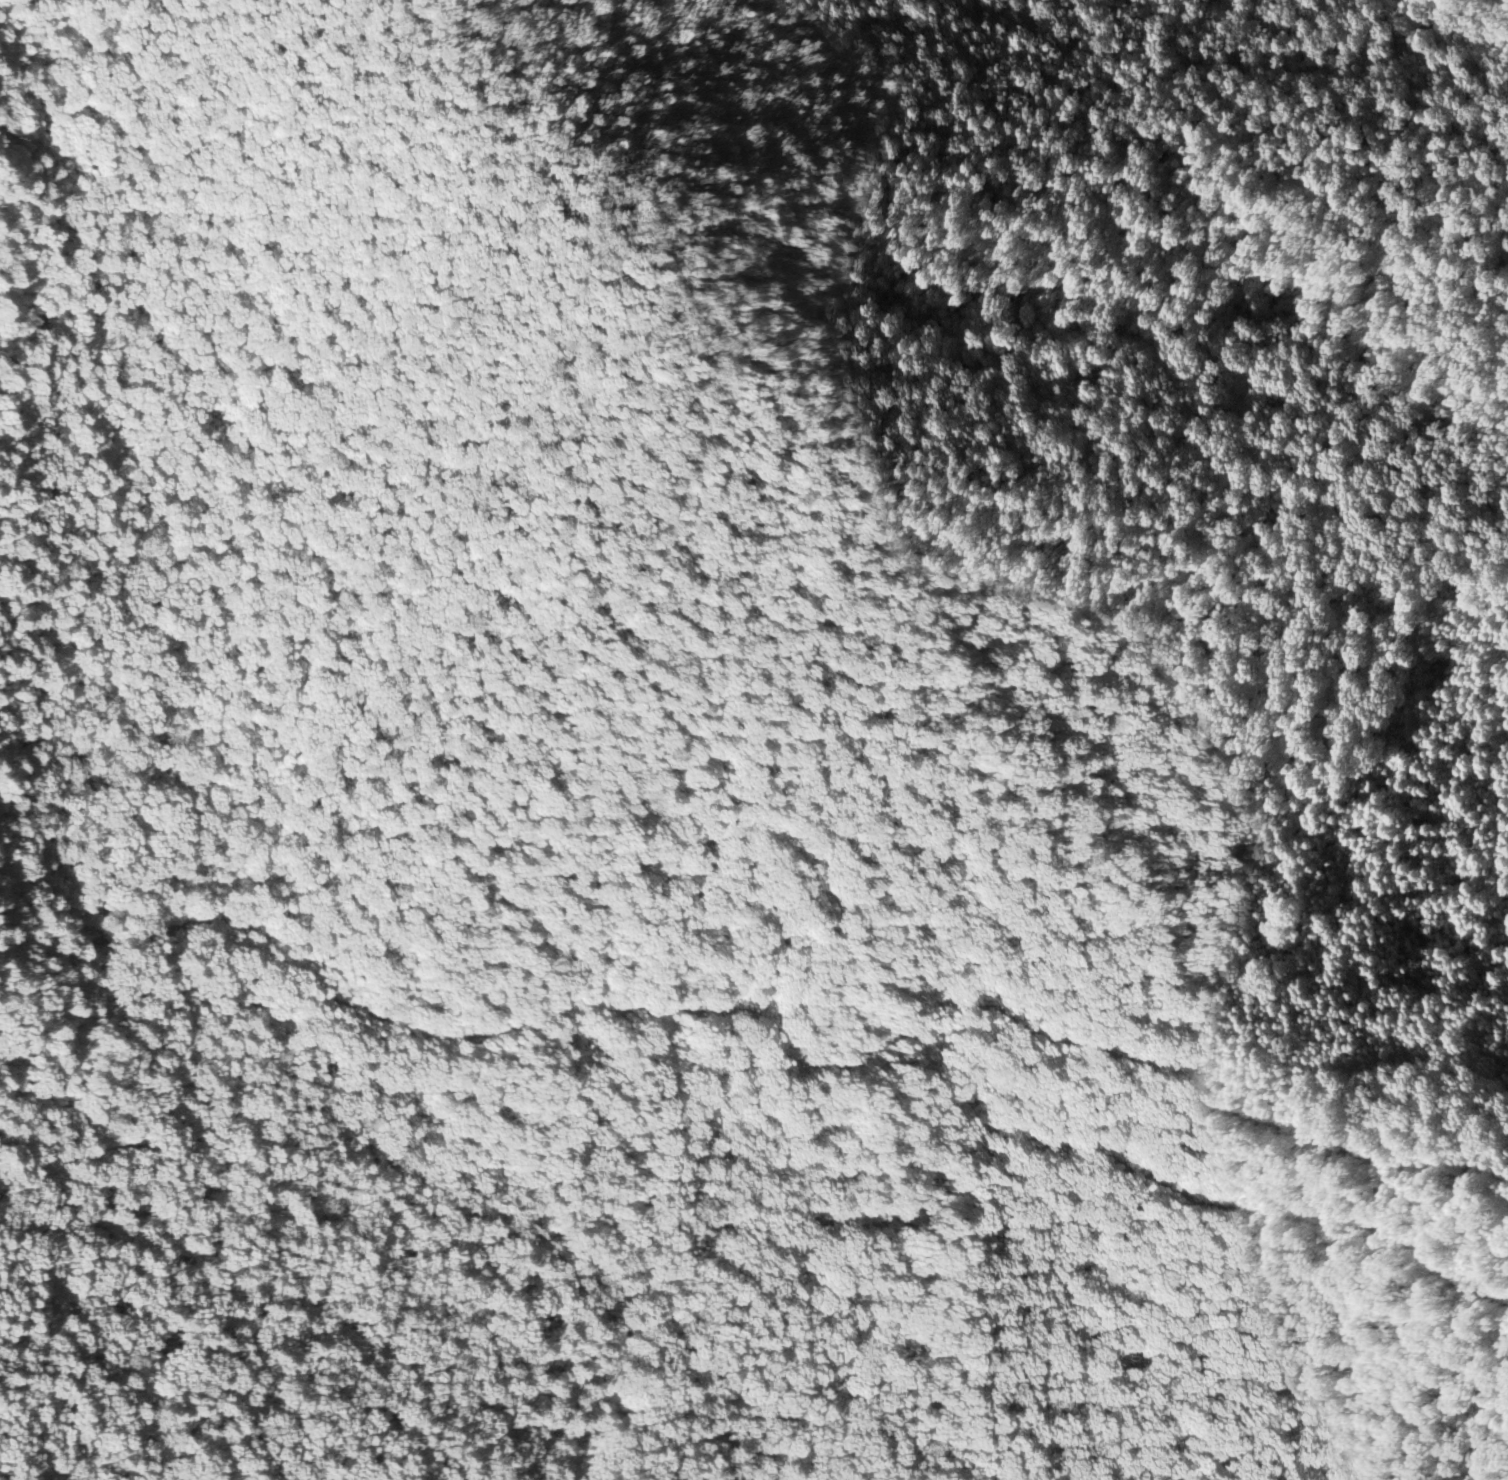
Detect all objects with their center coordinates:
road: (430, 70)
road: (715, 1014)
road: (929, 1135)

